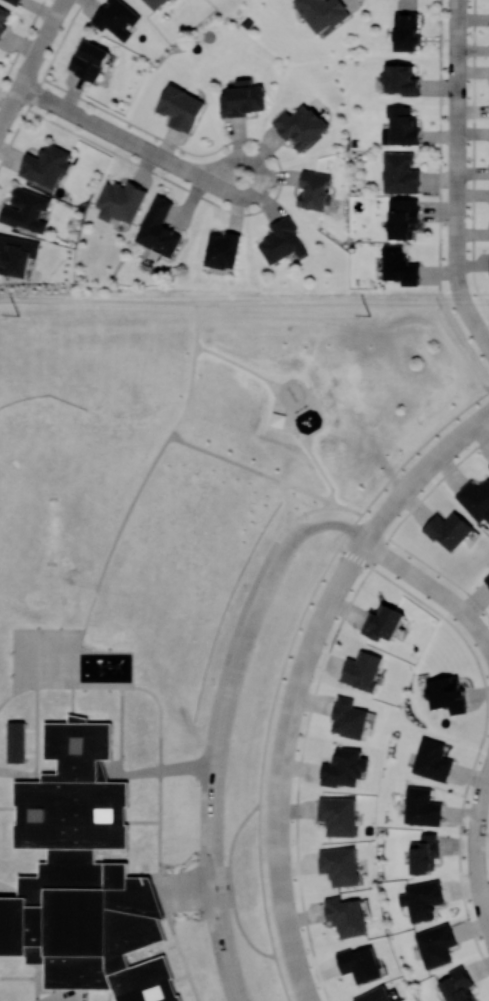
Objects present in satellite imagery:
building: (16, 1)
building: (154, 3)
building: (322, 13)
building: (115, 18)
building: (4, 19)
building: (406, 31)
road: (43, 43)
building: (89, 60)
building: (399, 80)
building: (243, 99)
road: (10, 108)
building: (181, 108)
road: (456, 121)
building: (300, 126)
road: (130, 142)
road: (472, 159)
building: (46, 165)
building: (400, 173)
building: (313, 190)
road: (438, 194)
building: (120, 201)
building: (26, 210)
building: (402, 217)
building: (158, 228)
building: (281, 240)
building: (222, 249)
building: (16, 254)
building: (399, 265)
road: (456, 265)
road: (266, 303)
park: (478, 307)
power tower: (17, 315)
power tower: (369, 315)
road: (471, 317)
park: (344, 382)
road: (431, 458)
building: (488, 464)
road: (265, 475)
building: (475, 499)
road: (286, 502)
building: (448, 530)
road: (441, 574)
building: (486, 580)
road: (432, 586)
building: (383, 623)
road: (285, 661)
road: (300, 669)
building: (362, 671)
road: (76, 678)
road: (35, 686)
road: (316, 691)
building: (446, 694)
building: (348, 718)
road: (223, 723)
road: (485, 727)
road: (210, 728)
building: (16, 742)
building: (432, 760)
building: (344, 768)
building: (421, 807)
building: (338, 815)
road: (476, 848)
building: (424, 853)
building: (340, 865)
building: (82, 876)
road: (232, 885)
road: (194, 890)
building: (421, 899)
building: (346, 916)
road: (286, 924)
building: (435, 945)
building: (359, 964)
road: (29, 978)
building: (457, 985)
building: (374, 995)
road: (65, 998)

